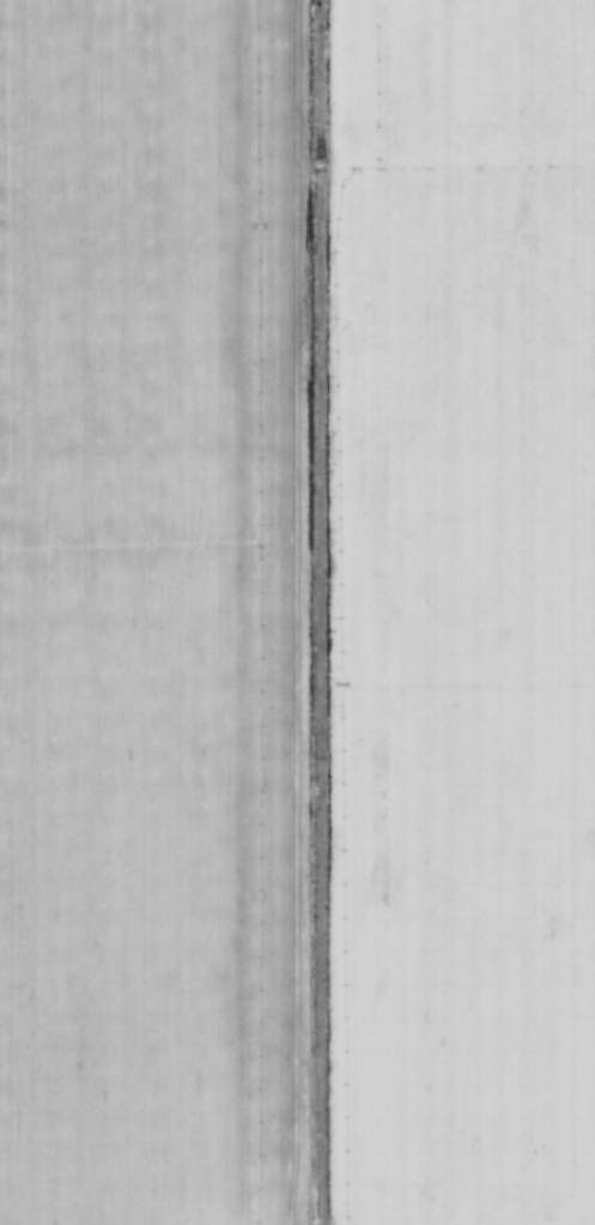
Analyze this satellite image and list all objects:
road: (305, 612)

